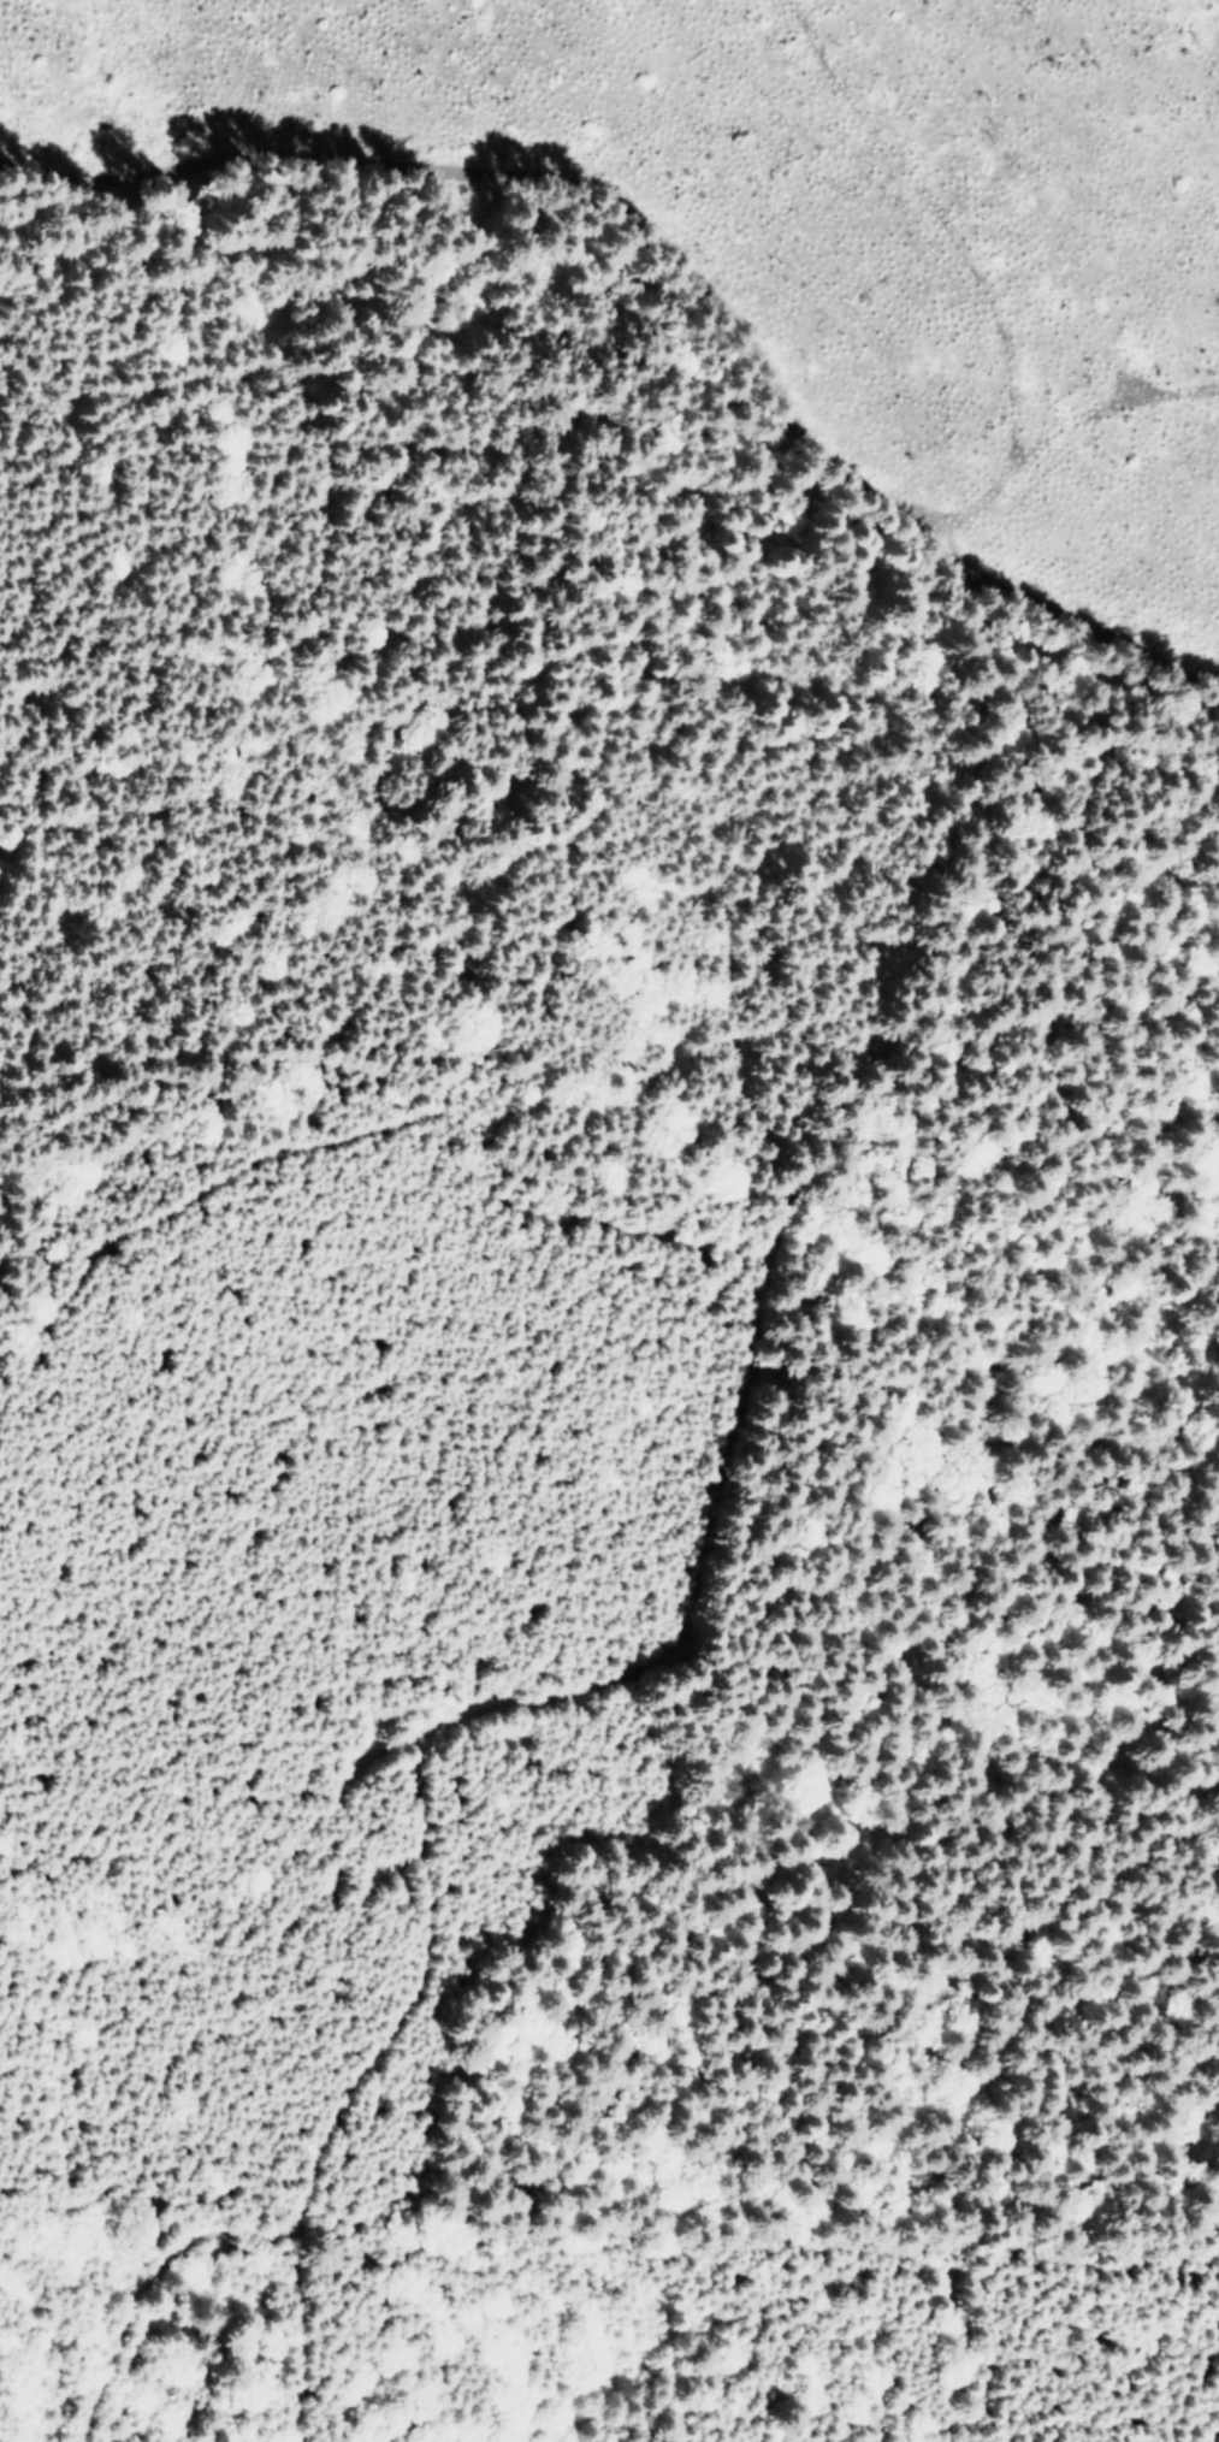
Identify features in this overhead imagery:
road: (676, 270)

